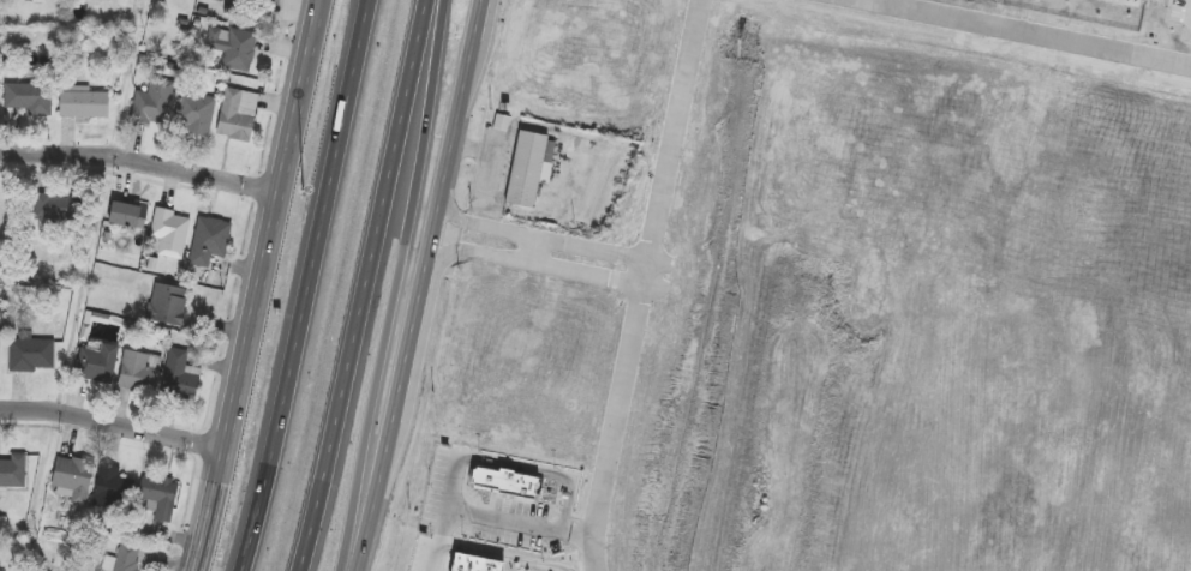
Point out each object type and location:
building: (231, 1)
building: (1135, 2)
building: (263, 4)
parking lot: (1181, 13)
water park: (1079, 16)
road: (1190, 18)
road: (1016, 34)
building: (231, 48)
building: (28, 97)
building: (154, 102)
building: (82, 103)
building: (193, 114)
building: (235, 114)
road: (139, 157)
road: (102, 167)
building: (526, 174)
street lamp: (305, 192)
building: (1, 205)
building: (56, 206)
building: (125, 215)
building: (169, 232)
building: (208, 240)
road: (538, 252)
road: (648, 276)
railway: (588, 283)
road: (647, 284)
road: (256, 285)
road: (309, 285)
road: (365, 285)
road: (399, 285)
road: (420, 285)
building: (166, 305)
building: (31, 355)
building: (95, 362)
building: (138, 371)
building: (179, 378)
road: (25, 422)
road: (112, 422)
road: (544, 470)
building: (11, 471)
building: (505, 479)
building: (70, 480)
building: (112, 489)
road: (587, 494)
road: (505, 495)
building: (157, 497)
road: (450, 512)
road: (567, 515)
road: (579, 516)
road: (526, 524)
road: (583, 535)
road: (503, 555)
building: (125, 558)
building: (473, 560)
road: (582, 561)

